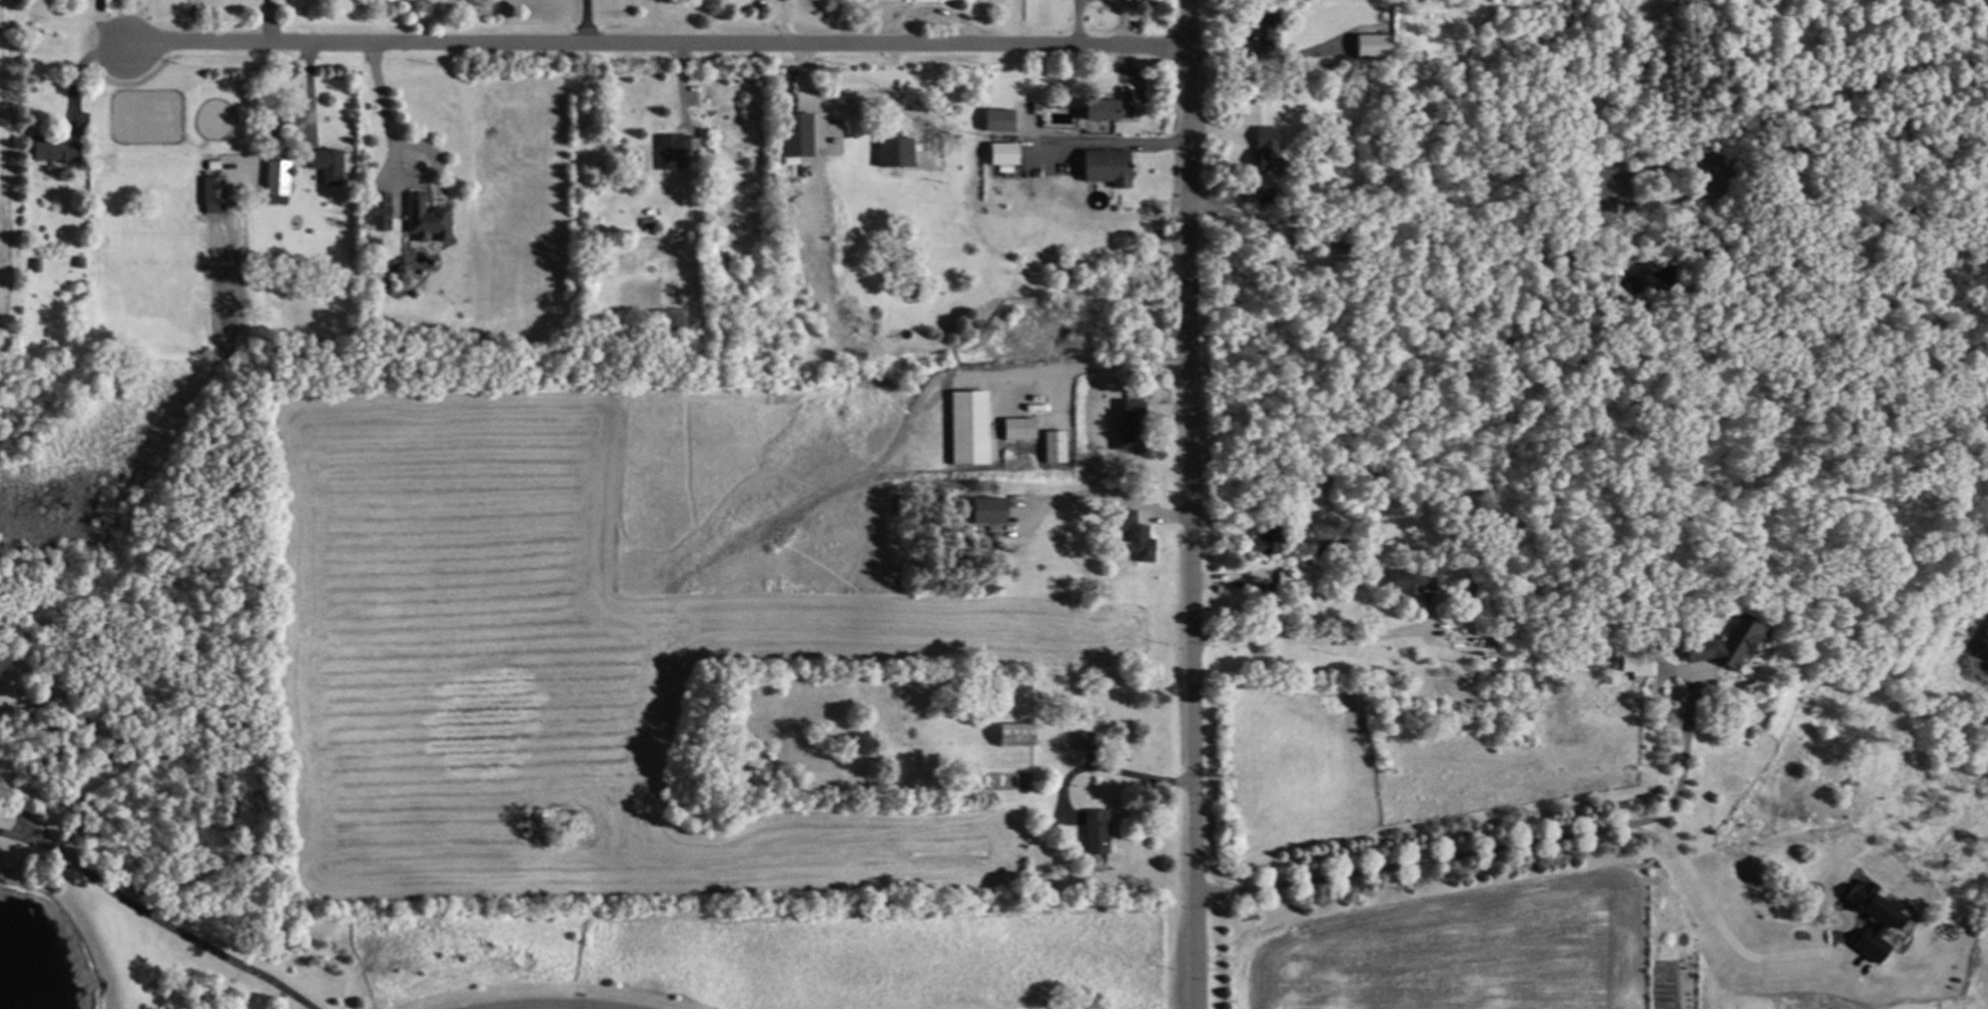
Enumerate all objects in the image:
road: (587, 23)
building: (1262, 35)
building: (1368, 46)
road: (651, 47)
road: (823, 105)
road: (383, 109)
building: (1103, 110)
building: (993, 120)
building: (793, 135)
road: (1111, 135)
building: (53, 149)
building: (1264, 150)
building: (668, 151)
building: (890, 151)
building: (1000, 154)
building: (324, 166)
building: (1102, 168)
building: (273, 182)
building: (210, 195)
building: (376, 212)
building: (423, 219)
road: (1390, 297)
building: (663, 320)
road: (1092, 364)
building: (1126, 426)
building: (965, 428)
building: (1015, 429)
building: (1051, 447)
road: (1102, 492)
road: (1187, 504)
building: (982, 512)
building: (1131, 534)
building: (1261, 546)
building: (1408, 582)
road: (1308, 641)
building: (1724, 645)
building: (1, 664)
building: (1635, 668)
building: (1012, 736)
building: (1084, 742)
road: (1106, 768)
road: (1682, 776)
building: (1092, 833)
road: (1542, 837)
road: (153, 914)
building: (1873, 923)
road: (563, 1006)

